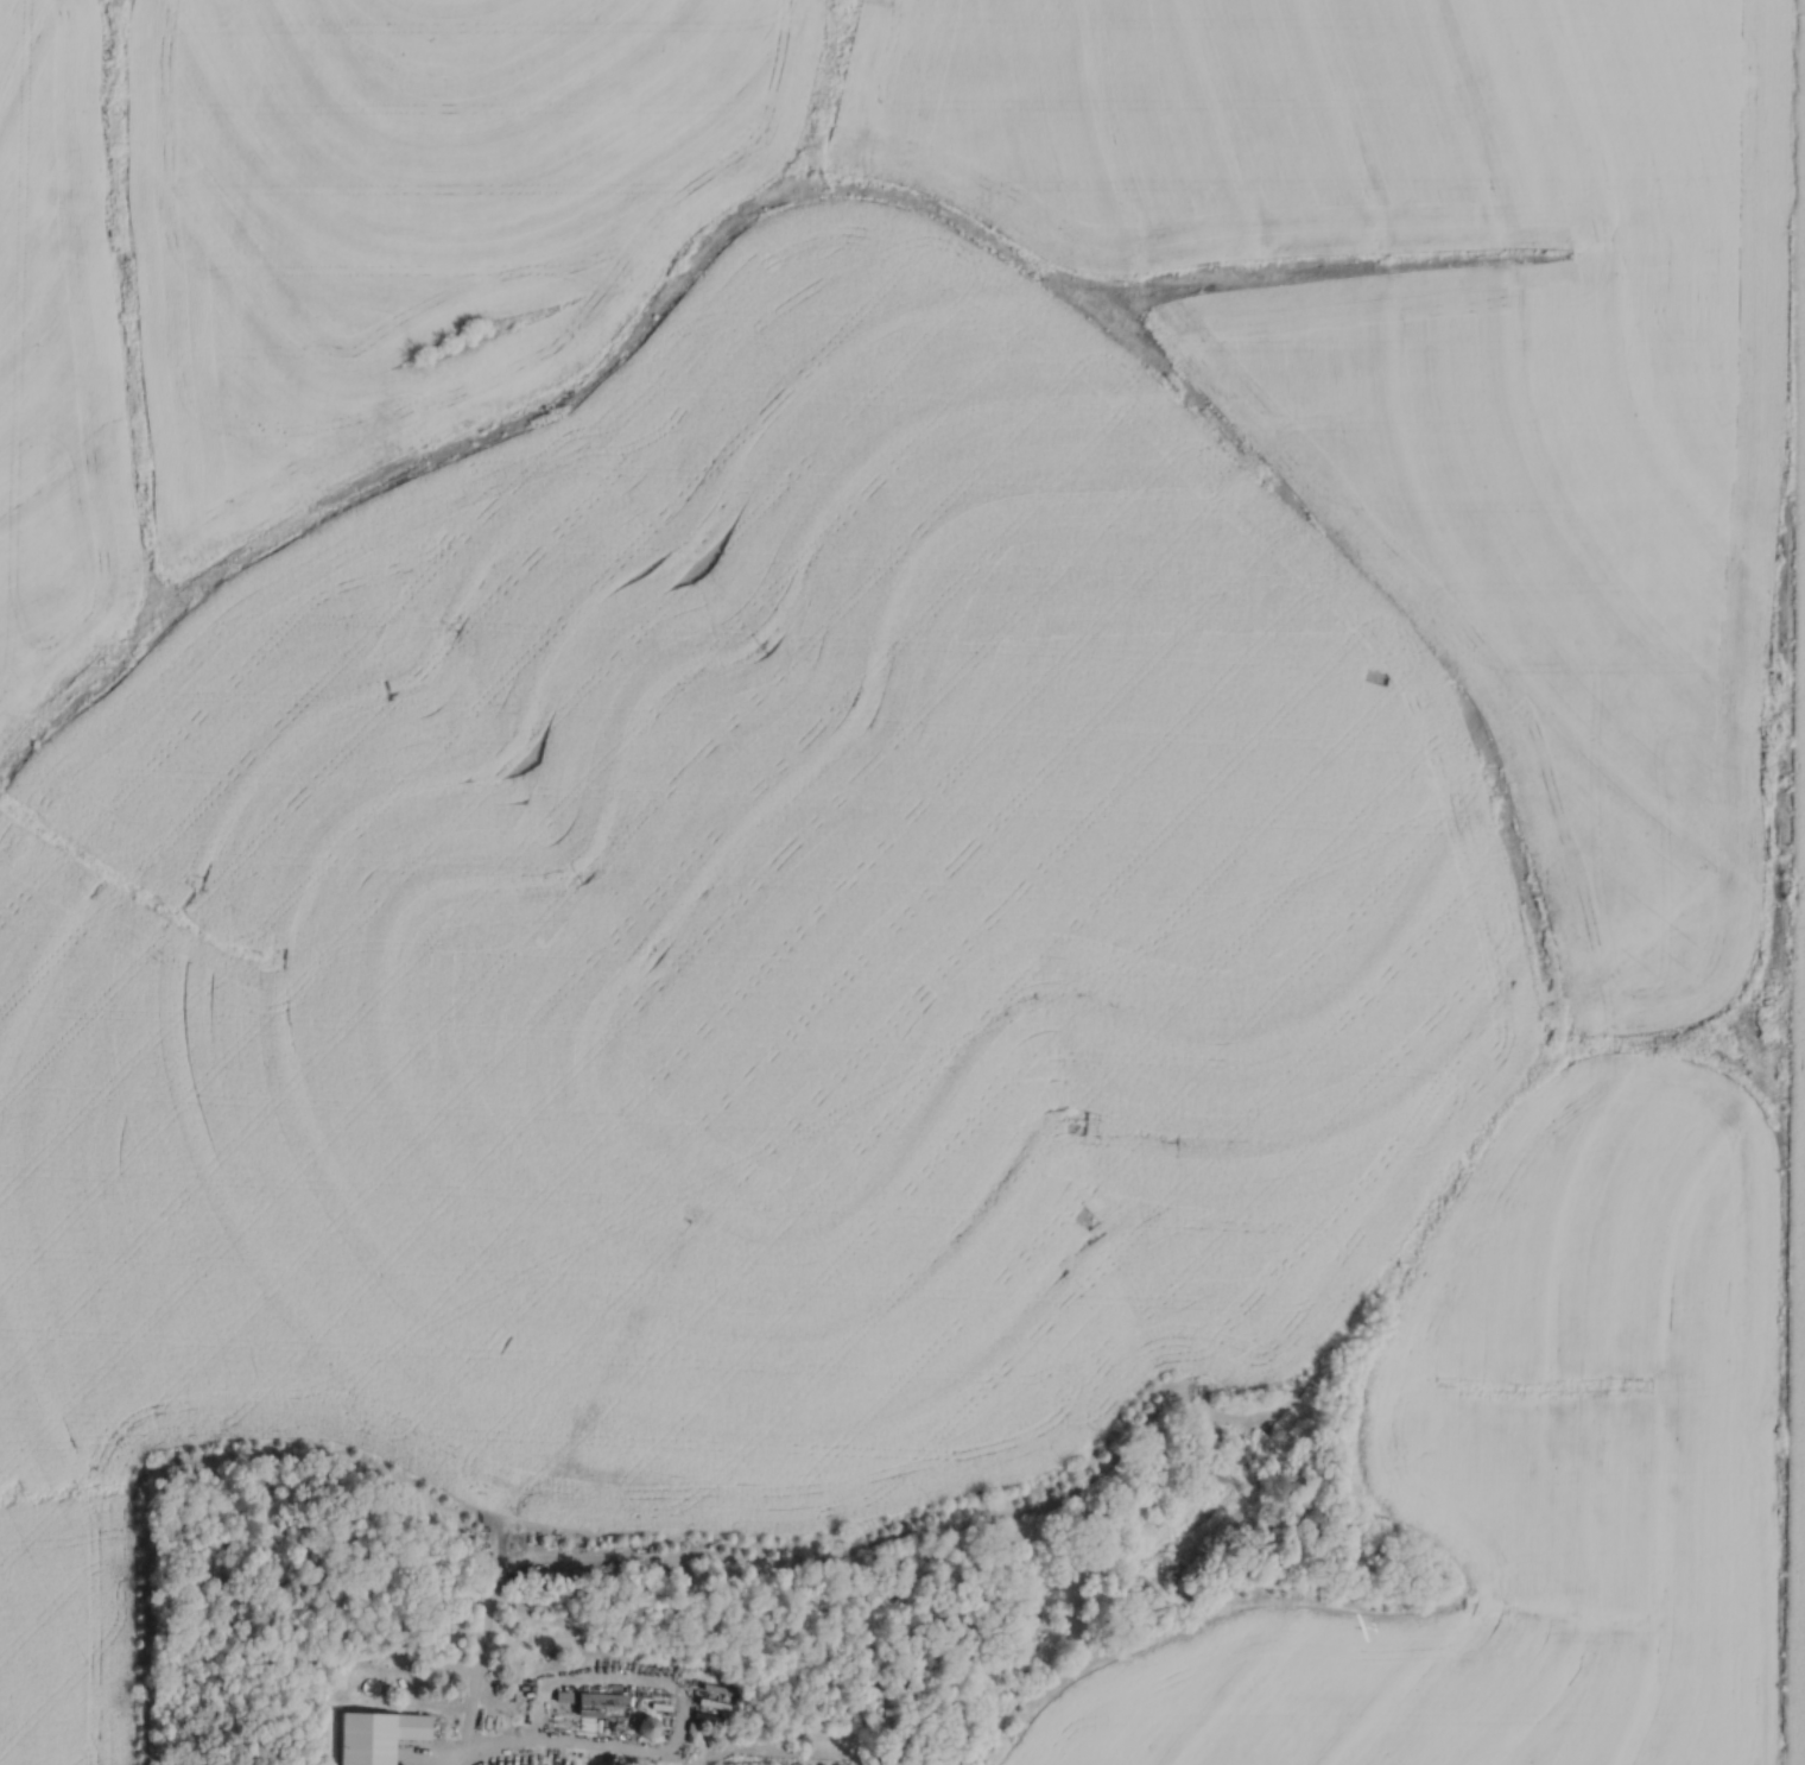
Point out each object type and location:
building: (597, 1707)
building: (639, 1729)
building: (372, 1736)
road: (517, 1744)

